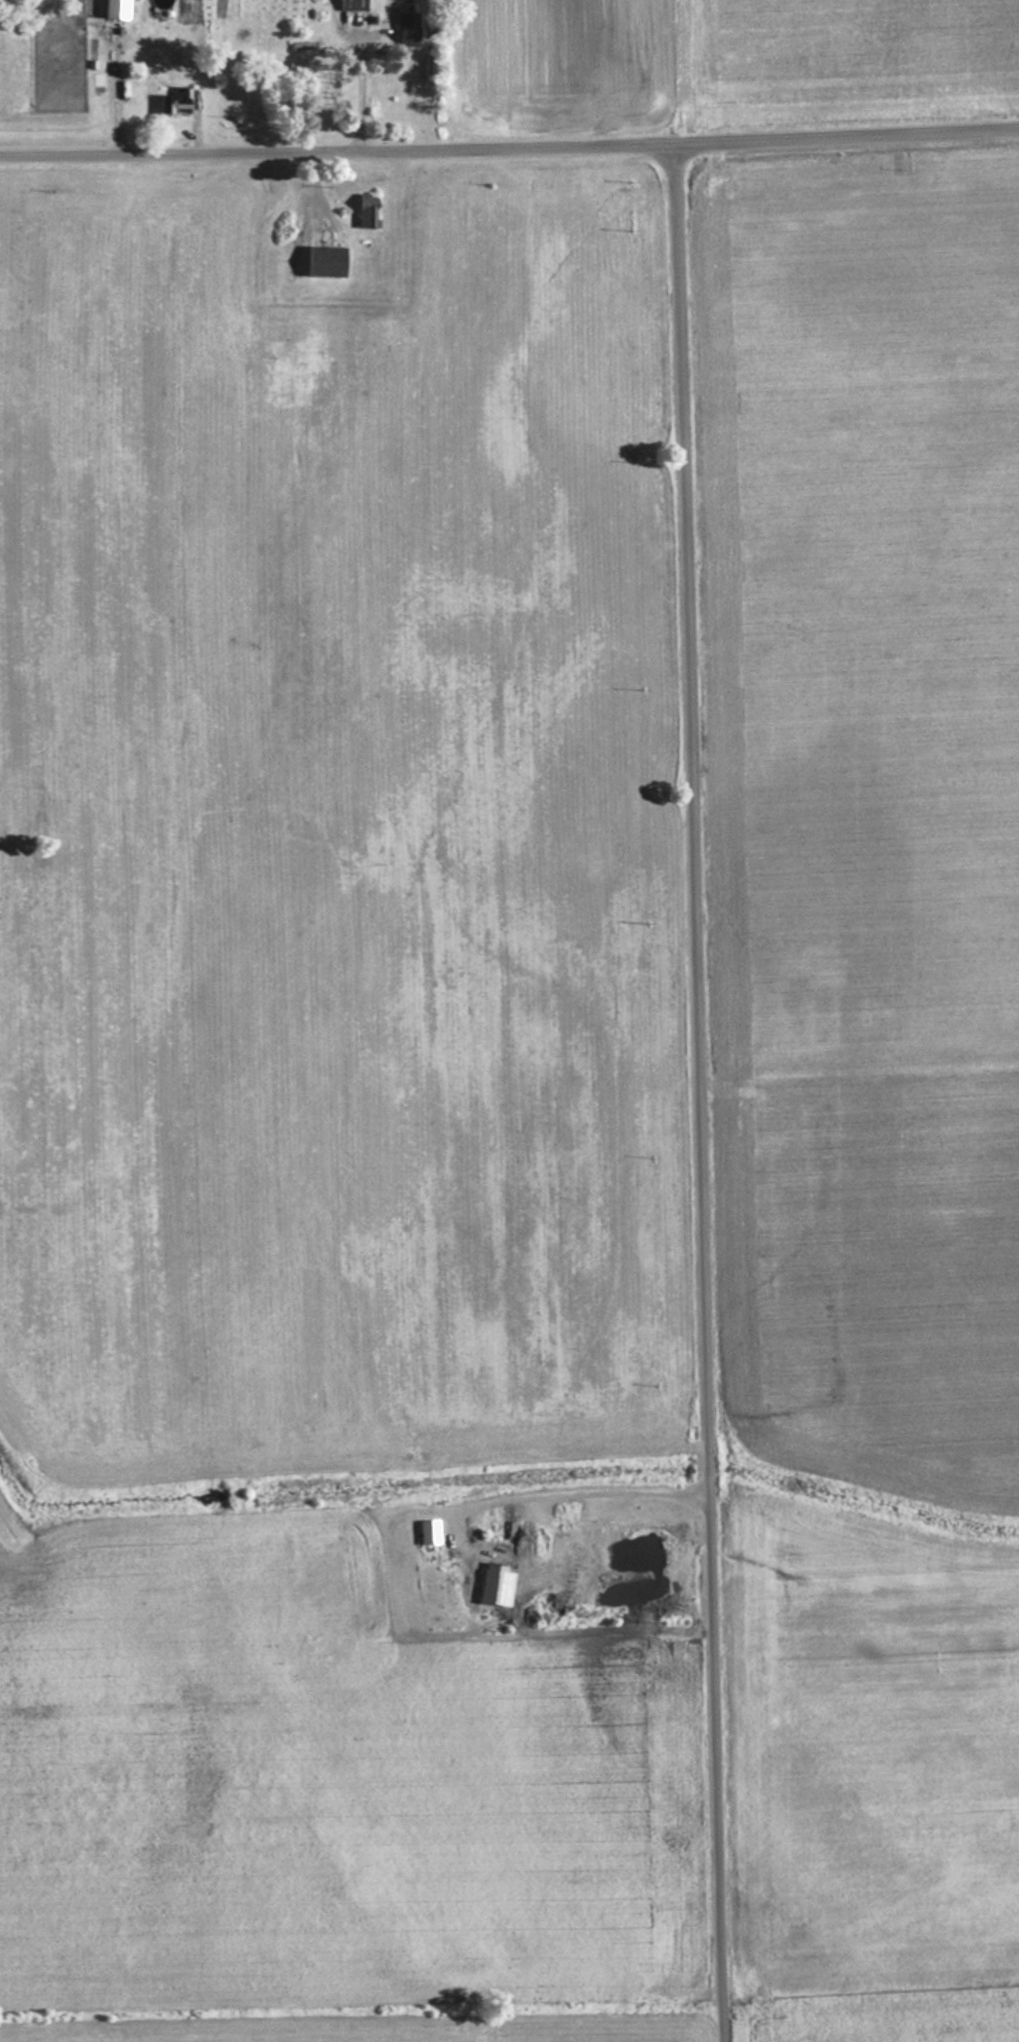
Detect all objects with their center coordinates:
building: (353, 4)
building: (115, 9)
building: (405, 27)
building: (174, 102)
road: (509, 153)
building: (365, 211)
building: (323, 261)
road: (703, 1095)
building: (428, 1532)
building: (463, 1571)

